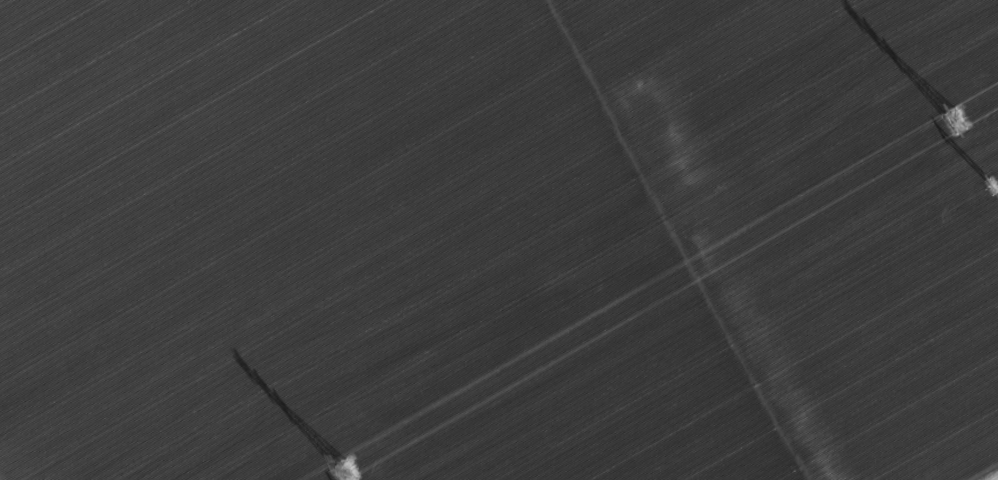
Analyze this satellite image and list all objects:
power tower: (953, 121)
power tower: (994, 184)
power tower: (344, 473)

